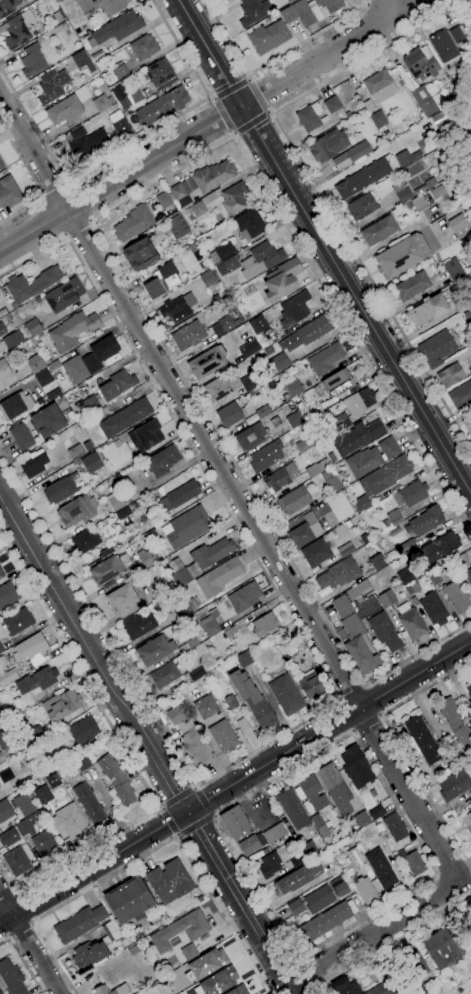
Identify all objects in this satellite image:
building: (226, 0)
building: (290, 1)
building: (102, 5)
building: (8, 7)
road: (390, 8)
building: (315, 10)
building: (252, 11)
building: (288, 14)
building: (57, 17)
building: (63, 26)
building: (116, 29)
building: (17, 30)
building: (455, 34)
building: (268, 37)
building: (442, 46)
building: (143, 47)
building: (32, 60)
road: (269, 62)
building: (82, 63)
building: (420, 63)
building: (119, 70)
building: (159, 75)
building: (52, 86)
building: (379, 86)
road: (228, 87)
building: (82, 94)
road: (260, 95)
building: (126, 98)
building: (424, 100)
building: (101, 103)
building: (332, 104)
building: (161, 106)
building: (64, 110)
building: (347, 114)
building: (308, 117)
road: (221, 118)
building: (377, 119)
road: (212, 124)
road: (252, 126)
building: (96, 138)
road: (132, 144)
building: (327, 145)
building: (350, 155)
building: (405, 158)
road: (356, 164)
building: (1, 166)
building: (365, 176)
building: (204, 180)
road: (31, 181)
building: (425, 185)
road: (50, 191)
building: (9, 192)
road: (319, 192)
building: (401, 192)
building: (437, 192)
building: (164, 200)
road: (78, 203)
building: (417, 203)
building: (216, 204)
building: (361, 207)
road: (50, 218)
building: (134, 223)
building: (249, 224)
building: (457, 224)
building: (177, 227)
road: (78, 230)
building: (378, 231)
road: (99, 237)
road: (325, 247)
building: (195, 251)
building: (221, 252)
building: (140, 254)
building: (402, 255)
building: (260, 260)
building: (227, 266)
building: (453, 269)
building: (207, 278)
building: (281, 280)
building: (31, 284)
building: (411, 286)
building: (152, 289)
building: (63, 295)
building: (177, 306)
building: (293, 308)
building: (460, 308)
building: (428, 310)
building: (256, 324)
building: (224, 325)
building: (32, 327)
building: (2, 329)
building: (72, 330)
building: (308, 333)
building: (187, 335)
building: (12, 339)
building: (248, 348)
building: (270, 348)
building: (469, 348)
building: (436, 349)
building: (325, 359)
building: (89, 360)
building: (206, 362)
building: (279, 362)
building: (33, 363)
building: (53, 366)
building: (4, 371)
building: (453, 373)
building: (41, 377)
building: (246, 382)
building: (336, 383)
building: (217, 389)
building: (293, 389)
building: (105, 393)
building: (312, 395)
building: (460, 395)
building: (285, 398)
building: (358, 400)
building: (15, 405)
building: (289, 406)
building: (262, 411)
building: (228, 415)
building: (125, 417)
building: (294, 419)
building: (47, 421)
building: (342, 421)
building: (467, 425)
building: (145, 436)
building: (21, 437)
building: (250, 437)
building: (356, 437)
building: (304, 444)
building: (75, 452)
building: (265, 456)
building: (331, 457)
building: (370, 458)
building: (162, 461)
building: (34, 463)
building: (90, 463)
building: (385, 475)
building: (324, 476)
building: (281, 477)
building: (60, 488)
road: (231, 489)
building: (183, 494)
building: (410, 494)
building: (292, 501)
building: (116, 502)
building: (361, 503)
building: (77, 511)
building: (121, 514)
building: (391, 519)
building: (424, 522)
building: (185, 527)
building: (304, 531)
building: (394, 531)
building: (151, 535)
building: (364, 538)
building: (85, 541)
building: (408, 547)
building: (437, 548)
building: (346, 551)
building: (211, 553)
building: (315, 553)
building: (147, 558)
building: (377, 562)
building: (460, 562)
building: (108, 569)
building: (1, 574)
building: (338, 575)
building: (403, 576)
building: (180, 577)
building: (218, 577)
building: (436, 577)
building: (468, 577)
building: (108, 585)
building: (412, 588)
building: (358, 590)
building: (8, 595)
building: (456, 596)
building: (243, 597)
building: (121, 598)
building: (387, 601)
building: (191, 605)
building: (341, 607)
building: (433, 609)
building: (182, 610)
building: (213, 614)
road: (72, 618)
building: (17, 622)
building: (411, 622)
building: (264, 624)
building: (379, 624)
building: (138, 626)
building: (210, 628)
building: (228, 632)
building: (190, 641)
building: (357, 645)
building: (31, 647)
building: (1, 648)
building: (201, 649)
building: (0, 650)
building: (154, 650)
building: (286, 653)
building: (243, 659)
road: (321, 672)
building: (166, 674)
building: (197, 674)
building: (7, 677)
building: (36, 680)
building: (311, 685)
road: (361, 686)
road: (425, 688)
building: (468, 688)
road: (350, 693)
building: (285, 694)
building: (252, 699)
road: (339, 700)
building: (230, 702)
building: (60, 705)
building: (205, 706)
building: (9, 709)
road: (378, 716)
building: (24, 722)
building: (454, 722)
road: (365, 723)
road: (328, 726)
building: (83, 731)
road: (353, 731)
building: (247, 733)
building: (33, 735)
building: (188, 735)
building: (223, 736)
building: (6, 738)
building: (421, 740)
building: (3, 756)
road: (128, 758)
building: (81, 763)
building: (355, 767)
road: (164, 776)
building: (52, 780)
building: (116, 780)
building: (453, 785)
road: (193, 787)
building: (334, 788)
road: (425, 791)
building: (312, 793)
building: (42, 794)
road: (177, 797)
road: (203, 802)
building: (24, 804)
building: (88, 804)
road: (159, 807)
building: (293, 809)
building: (4, 811)
traffic signals: (186, 812)
road: (216, 815)
road: (213, 816)
building: (360, 819)
road: (167, 821)
building: (317, 821)
building: (69, 822)
building: (29, 823)
building: (235, 823)
building: (467, 823)
road: (194, 825)
building: (393, 827)
building: (322, 832)
building: (274, 833)
road: (177, 836)
building: (3, 839)
building: (44, 843)
building: (251, 844)
building: (307, 849)
road: (145, 854)
building: (355, 858)
building: (296, 861)
building: (16, 862)
building: (411, 862)
building: (269, 865)
road: (92, 866)
building: (381, 870)
road: (223, 876)
building: (296, 877)
building: (169, 881)
building: (339, 887)
building: (365, 890)
road: (15, 894)
road: (7, 899)
building: (199, 899)
building: (317, 900)
building: (129, 901)
building: (295, 908)
road: (22, 909)
road: (30, 923)
building: (79, 923)
building: (323, 923)
road: (4, 927)
road: (18, 928)
building: (180, 930)
road: (374, 934)
road: (9, 935)
road: (395, 940)
road: (29, 944)
building: (440, 948)
building: (94, 949)
building: (133, 950)
building: (188, 952)
road: (301, 959)
road: (23, 961)
building: (207, 963)
building: (414, 963)
road: (276, 967)
road: (308, 971)
building: (11, 978)
building: (218, 981)
road: (316, 984)
building: (343, 986)
building: (121, 988)
building: (237, 990)
road: (317, 990)
building: (377, 990)
building: (0, 993)

